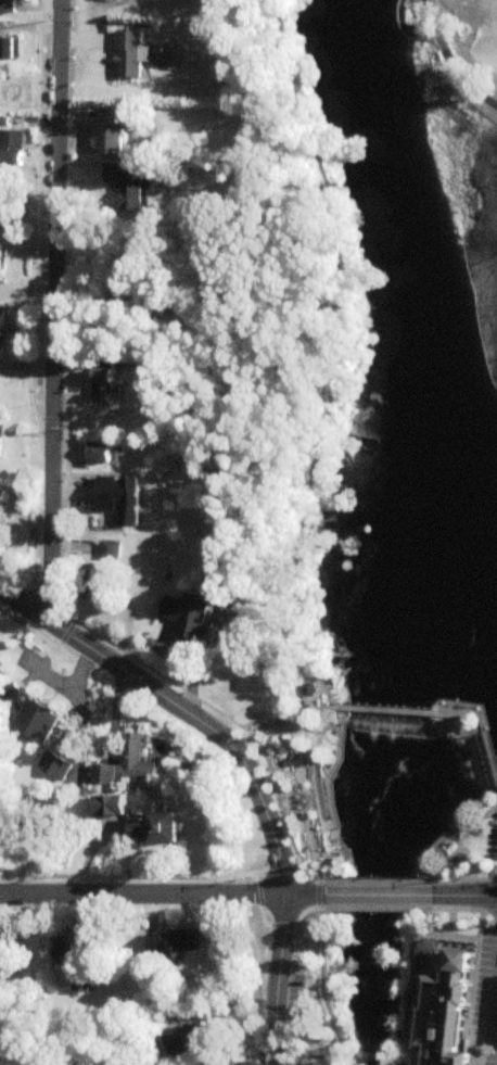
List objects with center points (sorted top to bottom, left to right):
building: (8, 5)
building: (9, 48)
park: (466, 50)
building: (129, 55)
road: (453, 60)
building: (113, 138)
building: (11, 149)
building: (110, 187)
building: (4, 200)
building: (0, 268)
road: (49, 312)
building: (5, 332)
road: (337, 359)
building: (104, 382)
building: (115, 383)
building: (3, 430)
building: (105, 447)
building: (98, 454)
building: (103, 493)
building: (1, 522)
river: (439, 531)
building: (95, 579)
road: (24, 608)
building: (196, 614)
road: (29, 626)
road: (74, 639)
road: (180, 709)
road: (390, 713)
building: (43, 715)
road: (232, 722)
road: (482, 723)
dam: (443, 724)
road: (439, 730)
road: (298, 731)
road: (462, 732)
road: (456, 734)
road: (324, 743)
building: (135, 760)
building: (63, 761)
park: (300, 769)
road: (326, 777)
road: (316, 784)
road: (309, 798)
building: (122, 803)
road: (486, 814)
road: (468, 825)
building: (165, 827)
road: (272, 835)
parking lot: (494, 842)
road: (461, 845)
park: (463, 848)
road: (468, 865)
road: (490, 874)
road: (443, 875)
road: (480, 875)
road: (382, 876)
road: (328, 877)
road: (387, 893)
road: (471, 893)
road: (165, 896)
road: (443, 902)
road: (382, 903)
road: (475, 903)
road: (455, 936)
building: (163, 946)
building: (194, 947)
building: (66, 952)
building: (3, 955)
road: (265, 961)
building: (466, 963)
road: (290, 976)
road: (276, 979)
park: (315, 985)
road: (333, 987)
road: (409, 1002)
parking lot: (296, 1006)
building: (446, 1018)
road: (496, 1030)
building: (190, 1036)
road: (285, 1047)

